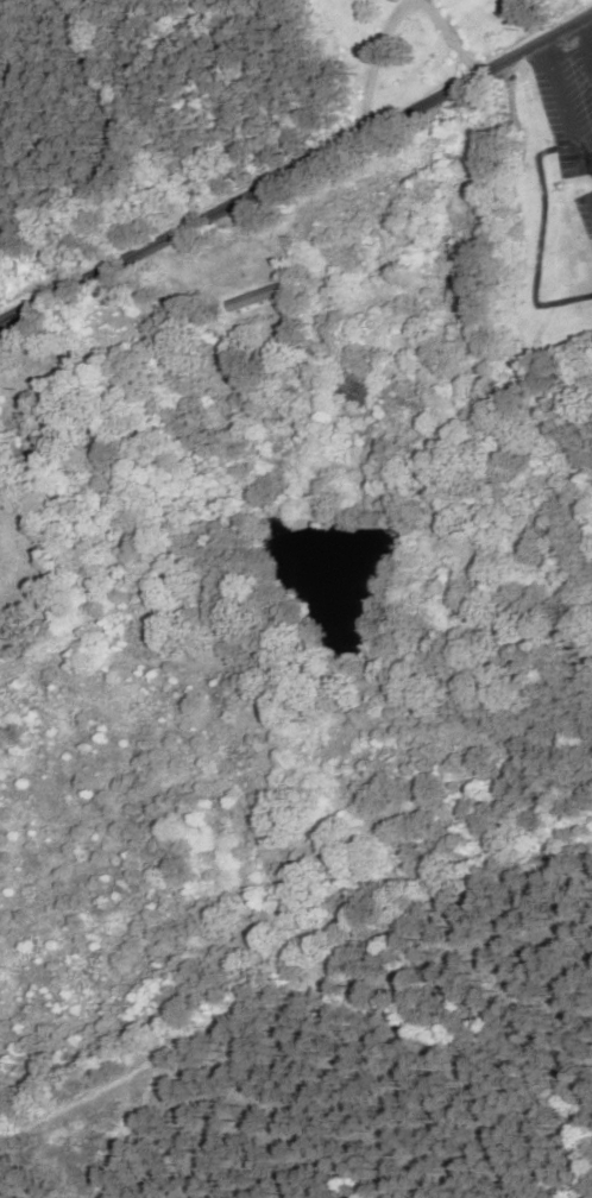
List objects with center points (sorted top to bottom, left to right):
road: (585, 19)
road: (296, 164)
building: (257, 301)
building: (349, 384)

